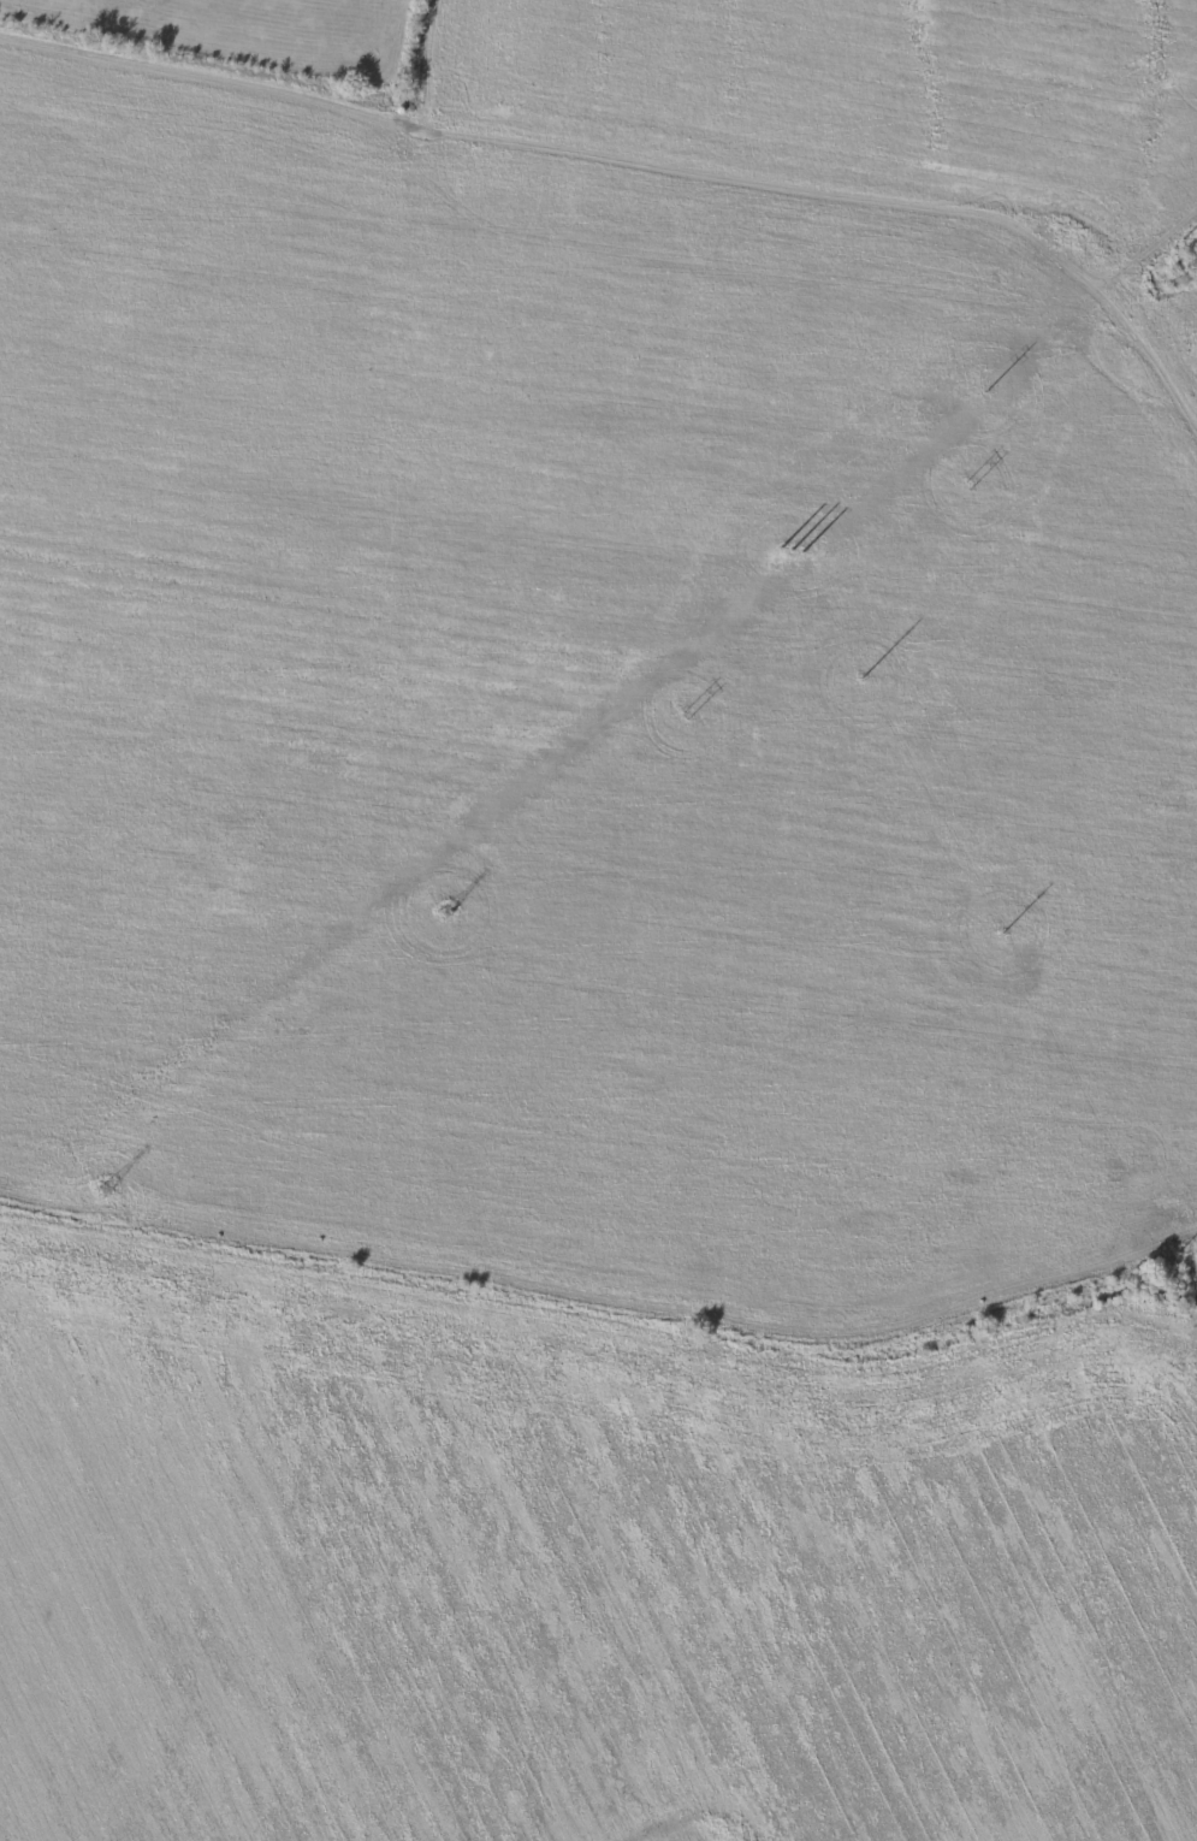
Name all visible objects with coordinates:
power tower: (434, 906)

